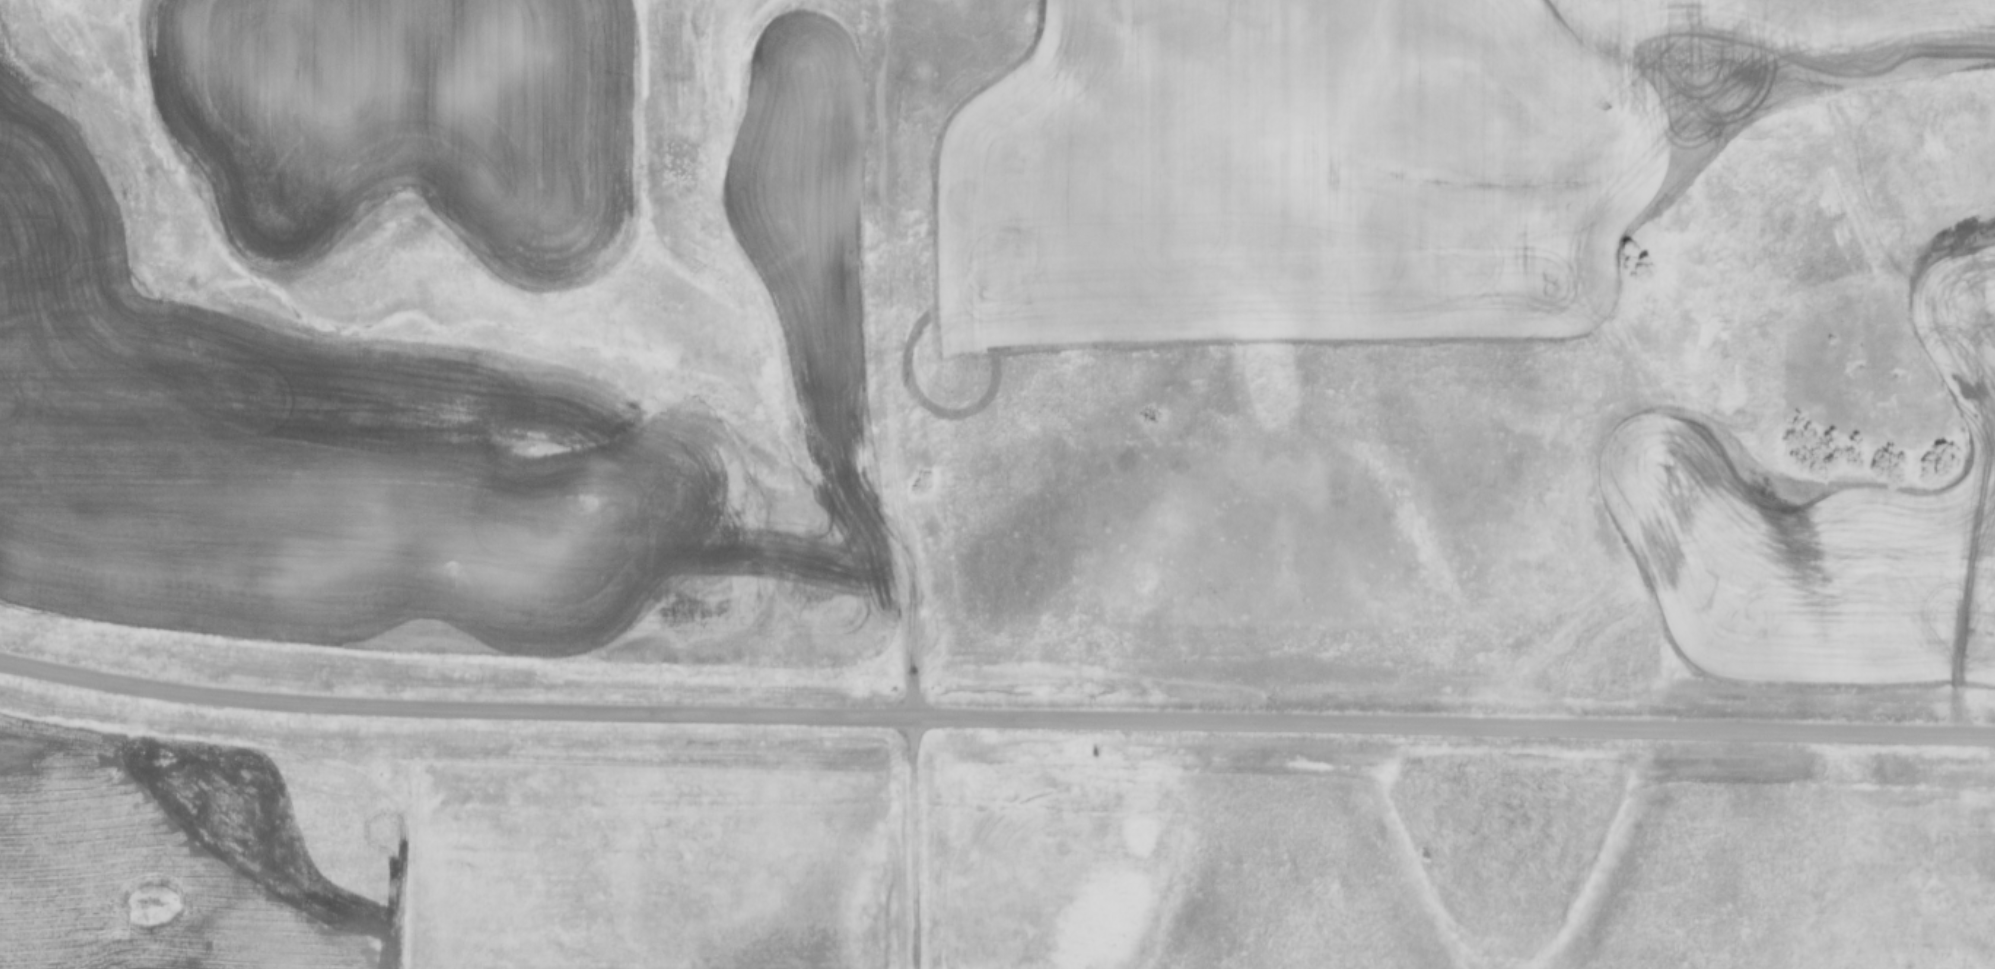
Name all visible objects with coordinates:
road: (456, 714)
road: (1455, 728)
road: (916, 846)

